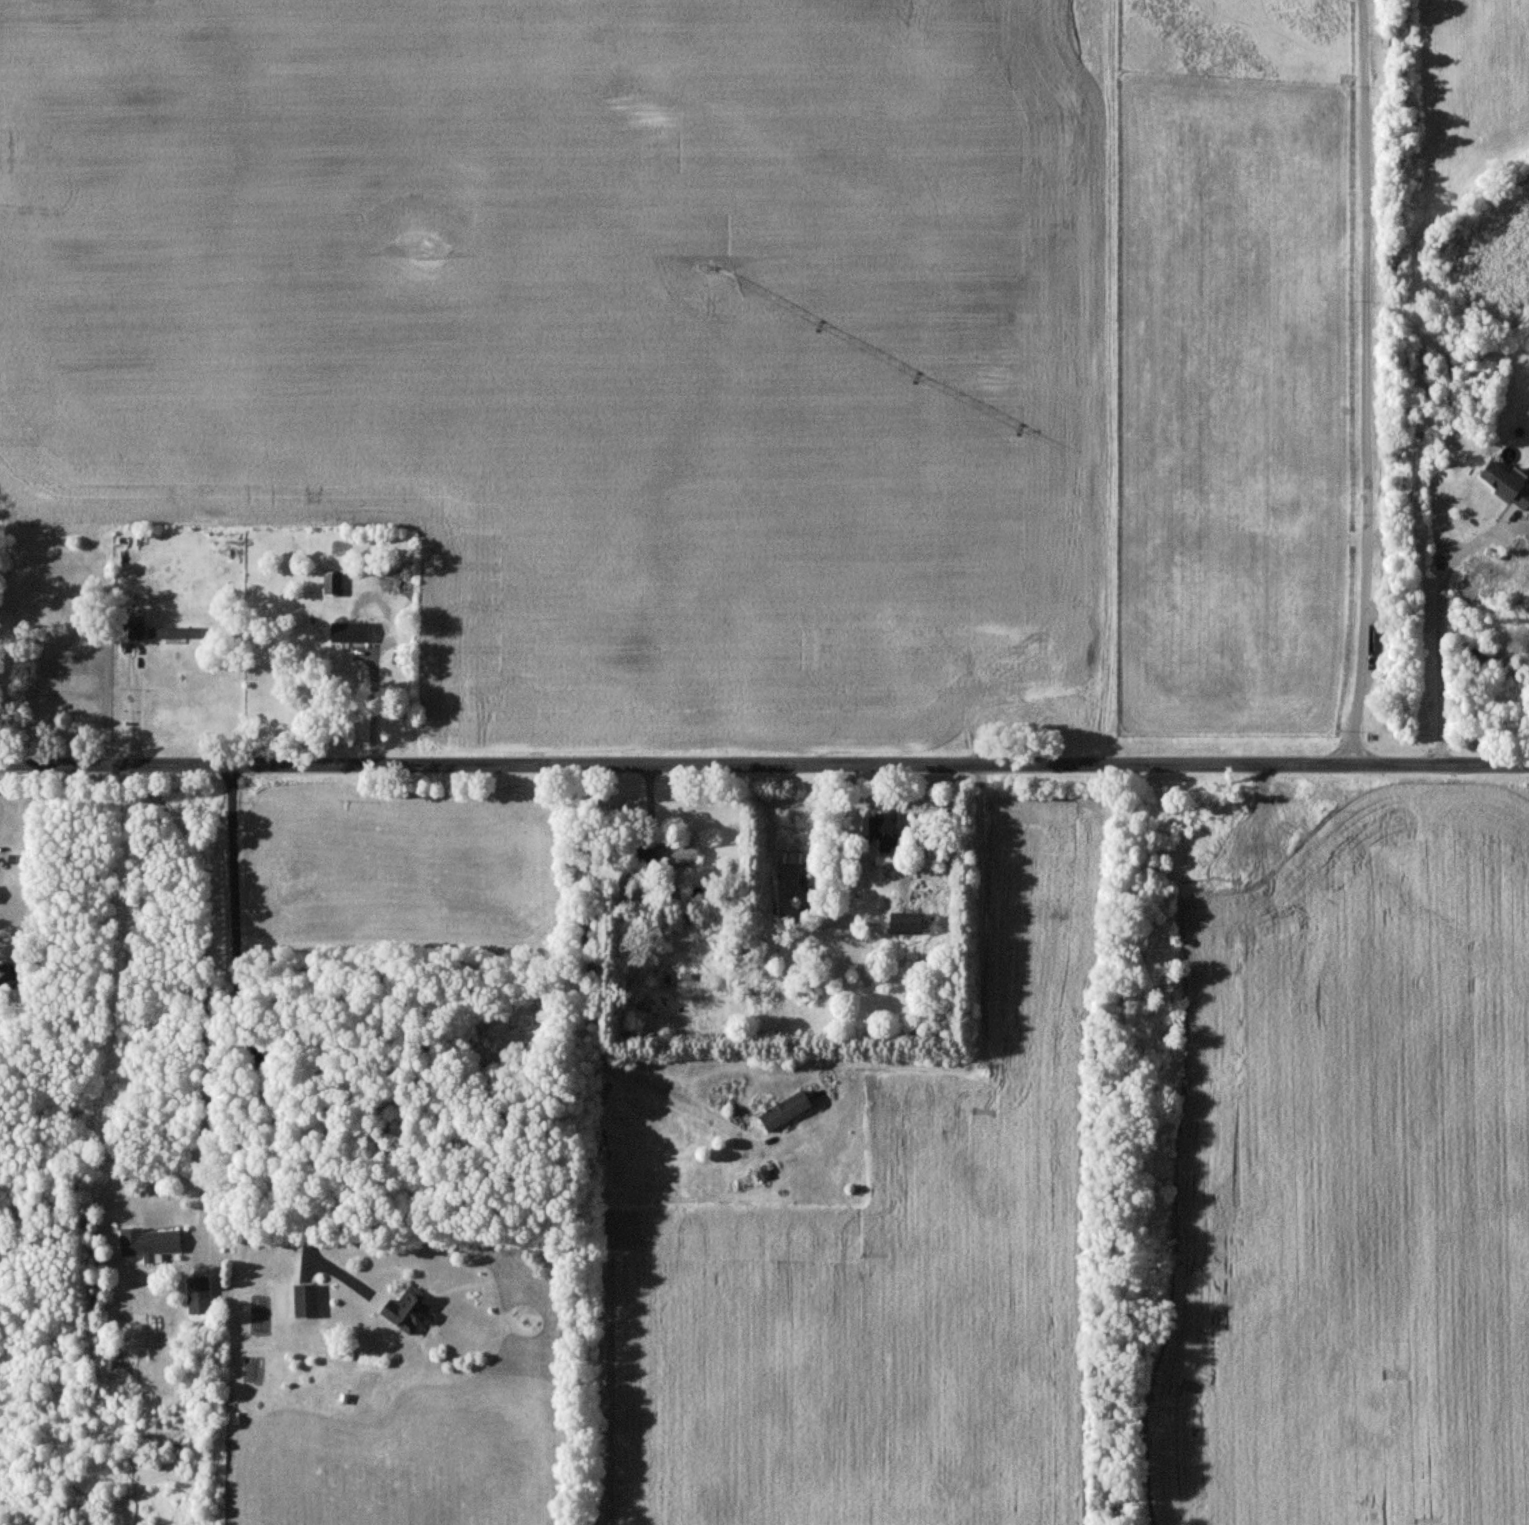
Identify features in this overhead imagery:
road: (1366, 383)
building: (1509, 483)
building: (335, 582)
building: (138, 628)
road: (1441, 630)
building: (353, 631)
building: (176, 632)
road: (764, 765)
building: (885, 831)
building: (682, 853)
building: (651, 857)
building: (911, 923)
road: (244, 1045)
building: (788, 1110)
building: (152, 1243)
building: (201, 1295)
building: (308, 1301)
building: (409, 1311)

